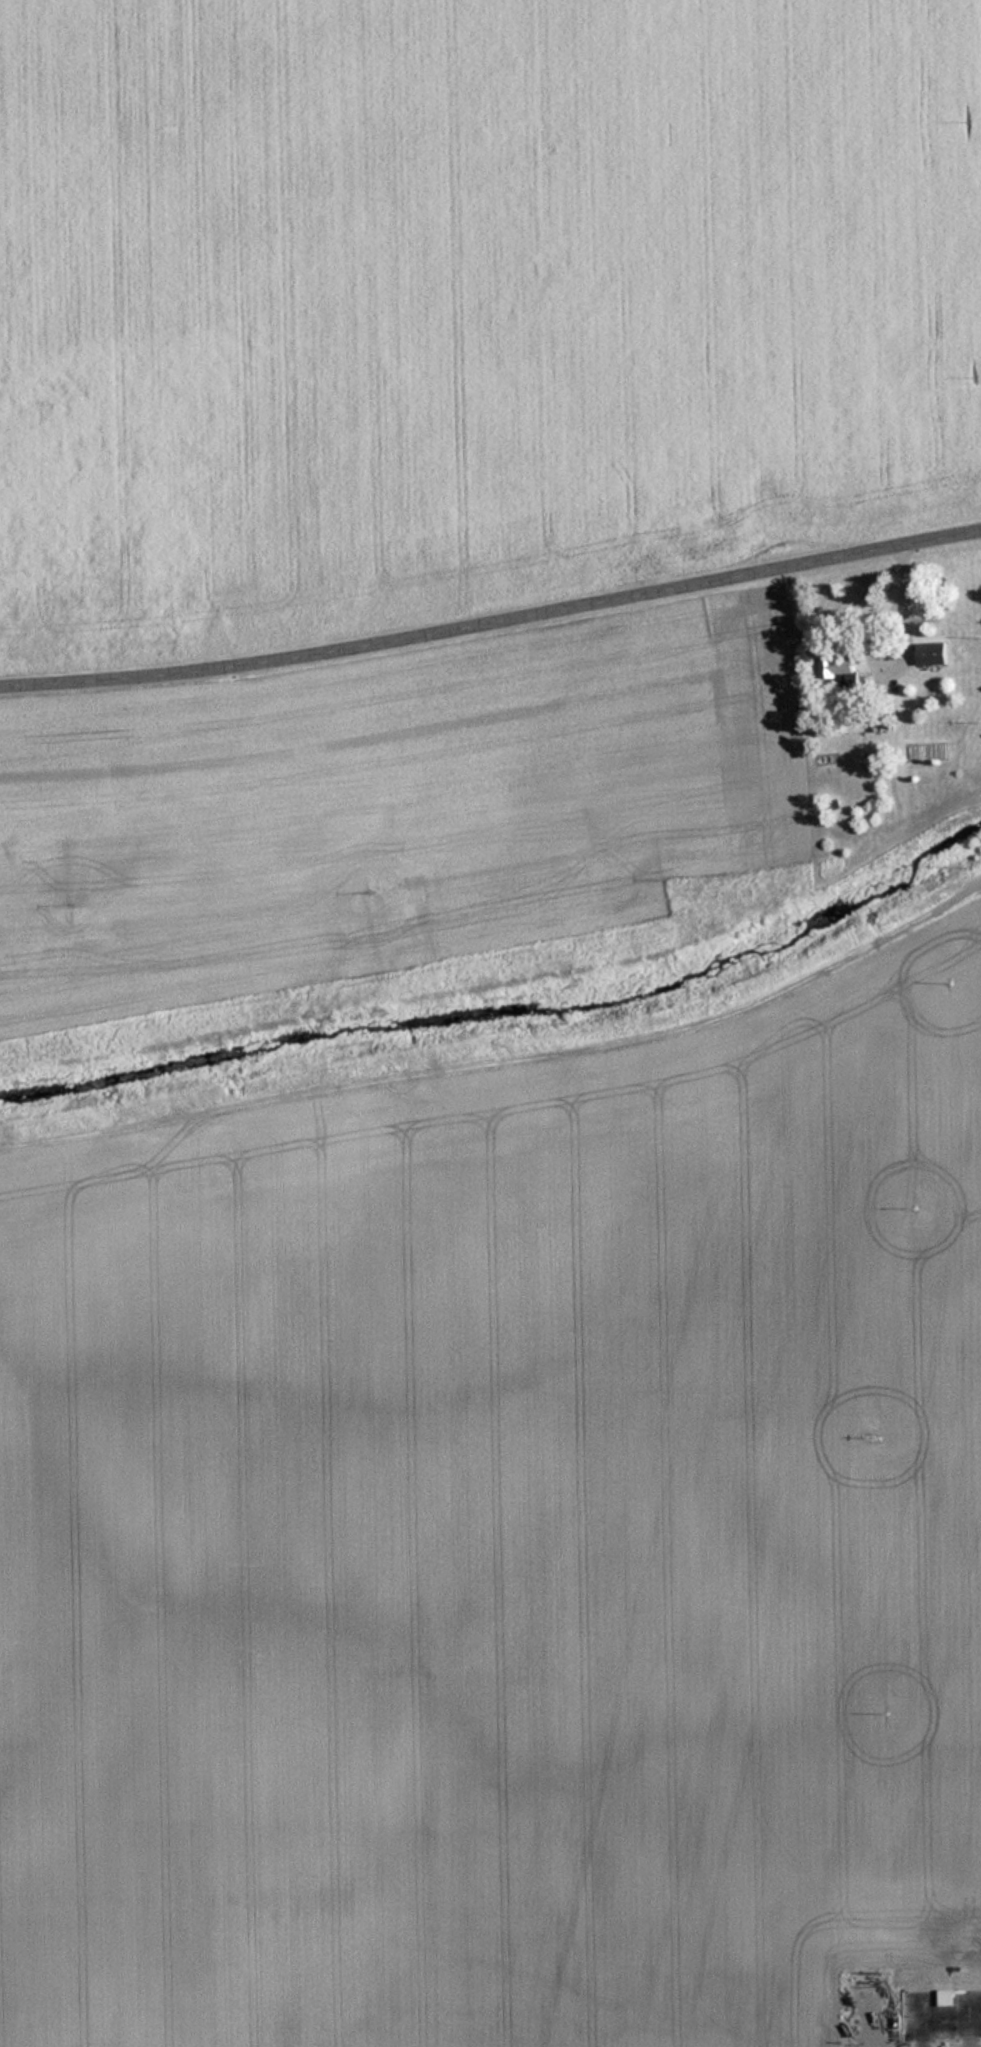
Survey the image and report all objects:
road: (491, 610)
building: (933, 653)
building: (841, 669)

